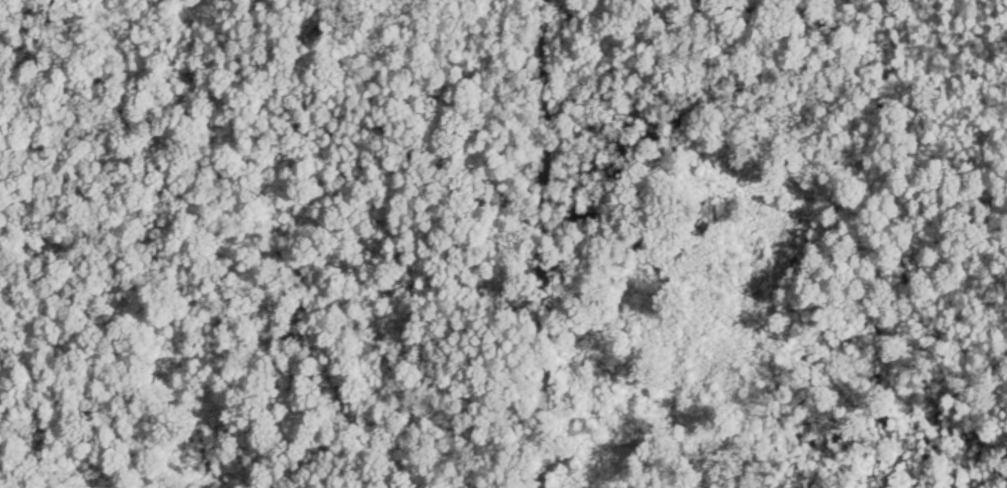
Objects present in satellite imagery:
road: (535, 244)

